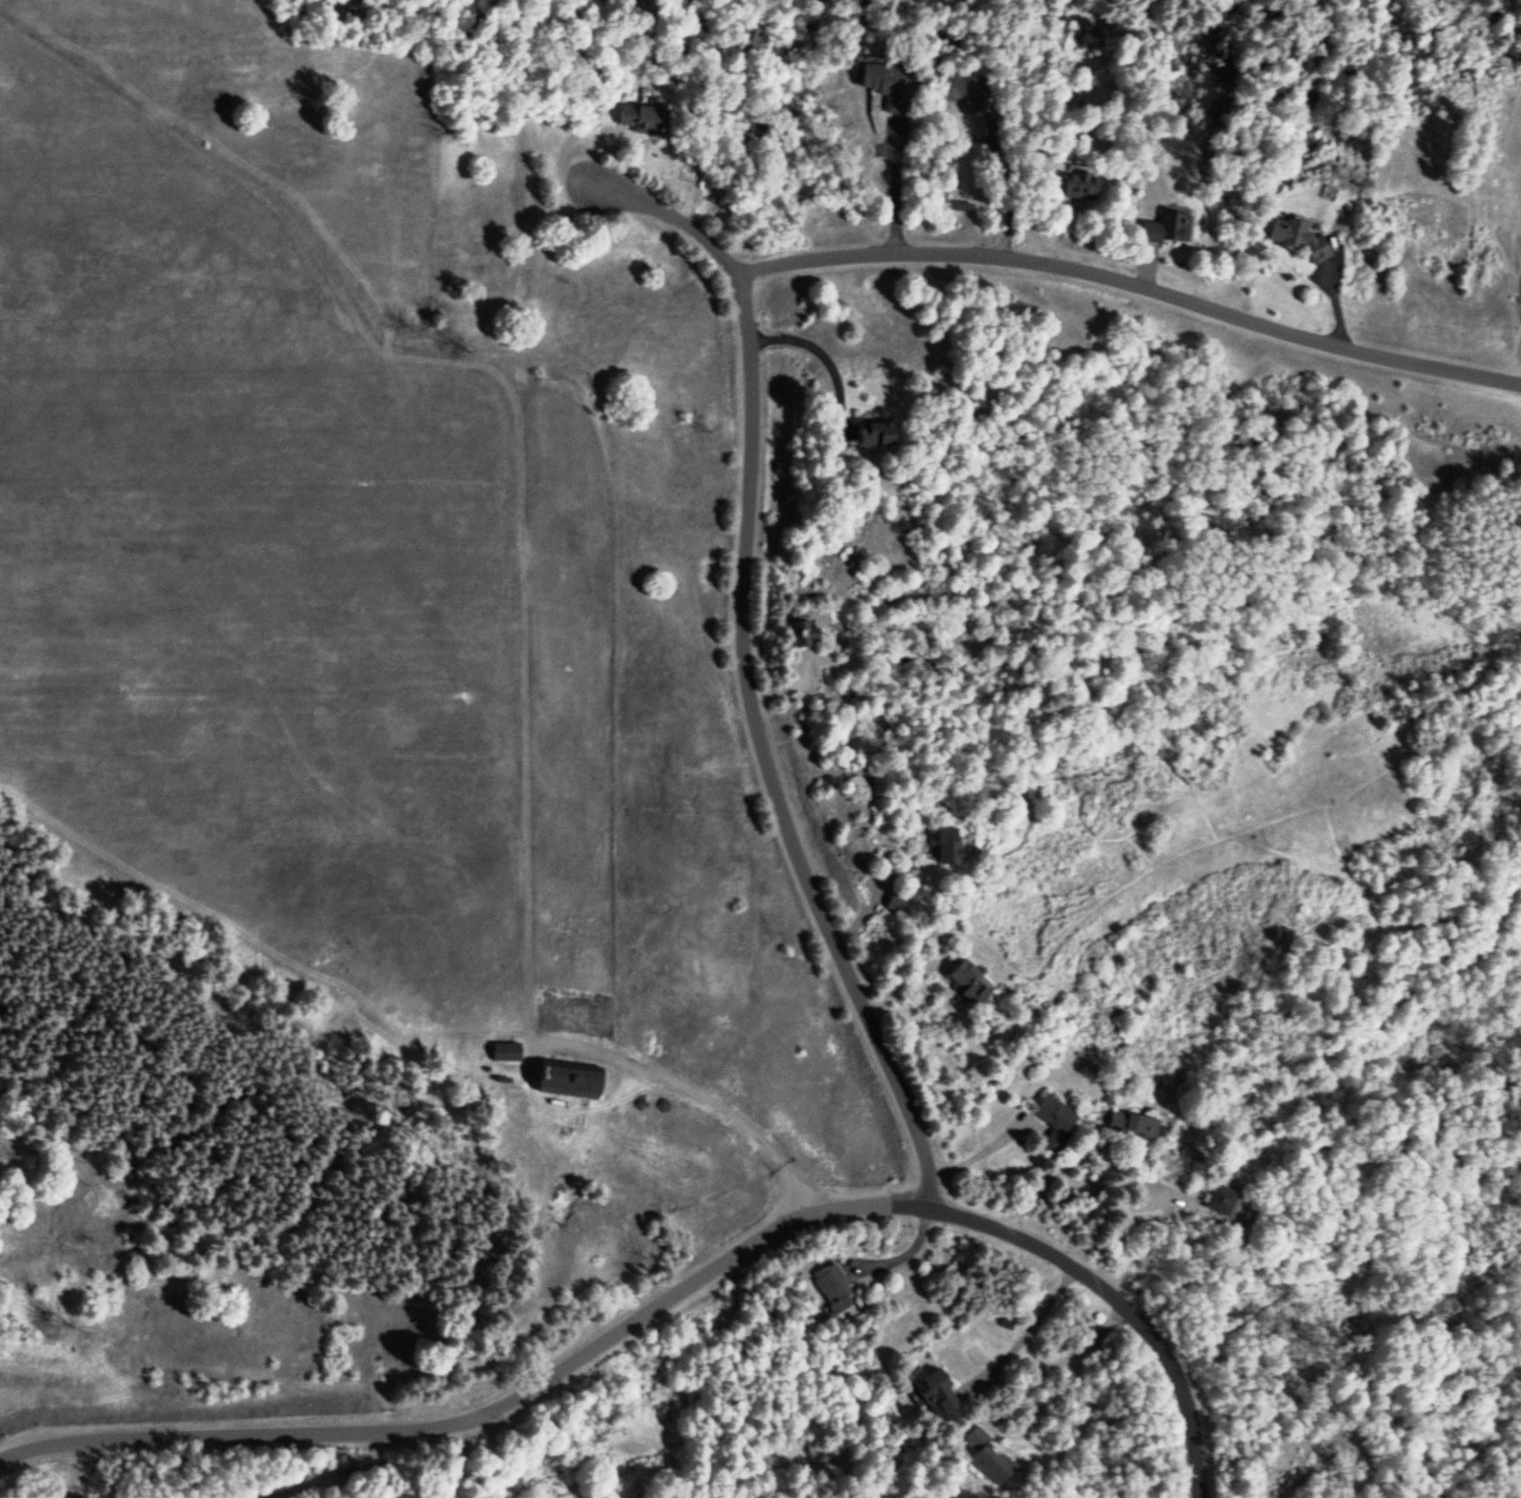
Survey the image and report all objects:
building: (885, 85)
building: (963, 94)
building: (642, 121)
building: (1080, 189)
building: (1168, 230)
building: (1300, 239)
road: (1136, 285)
building: (875, 436)
building: (803, 636)
road: (748, 666)
building: (949, 849)
park: (1319, 891)
building: (896, 905)
building: (969, 985)
building: (570, 1083)
building: (1055, 1125)
building: (1136, 1127)
building: (1220, 1201)
road: (676, 1288)
building: (832, 1291)
building: (936, 1396)
building: (988, 1459)
road: (457, 1461)

